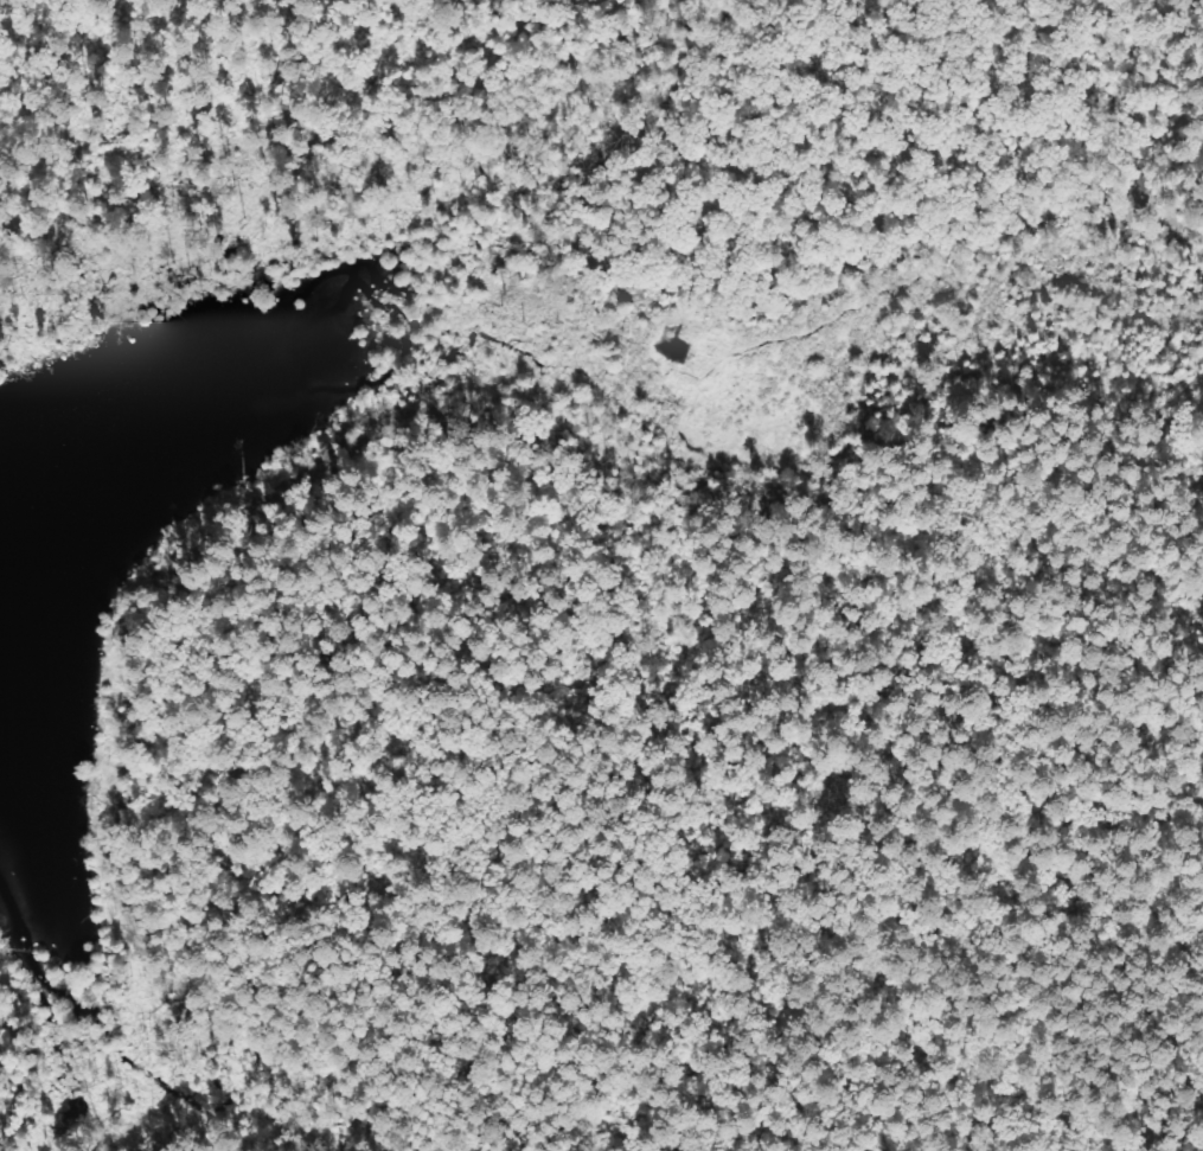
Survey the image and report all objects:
road: (988, 92)

